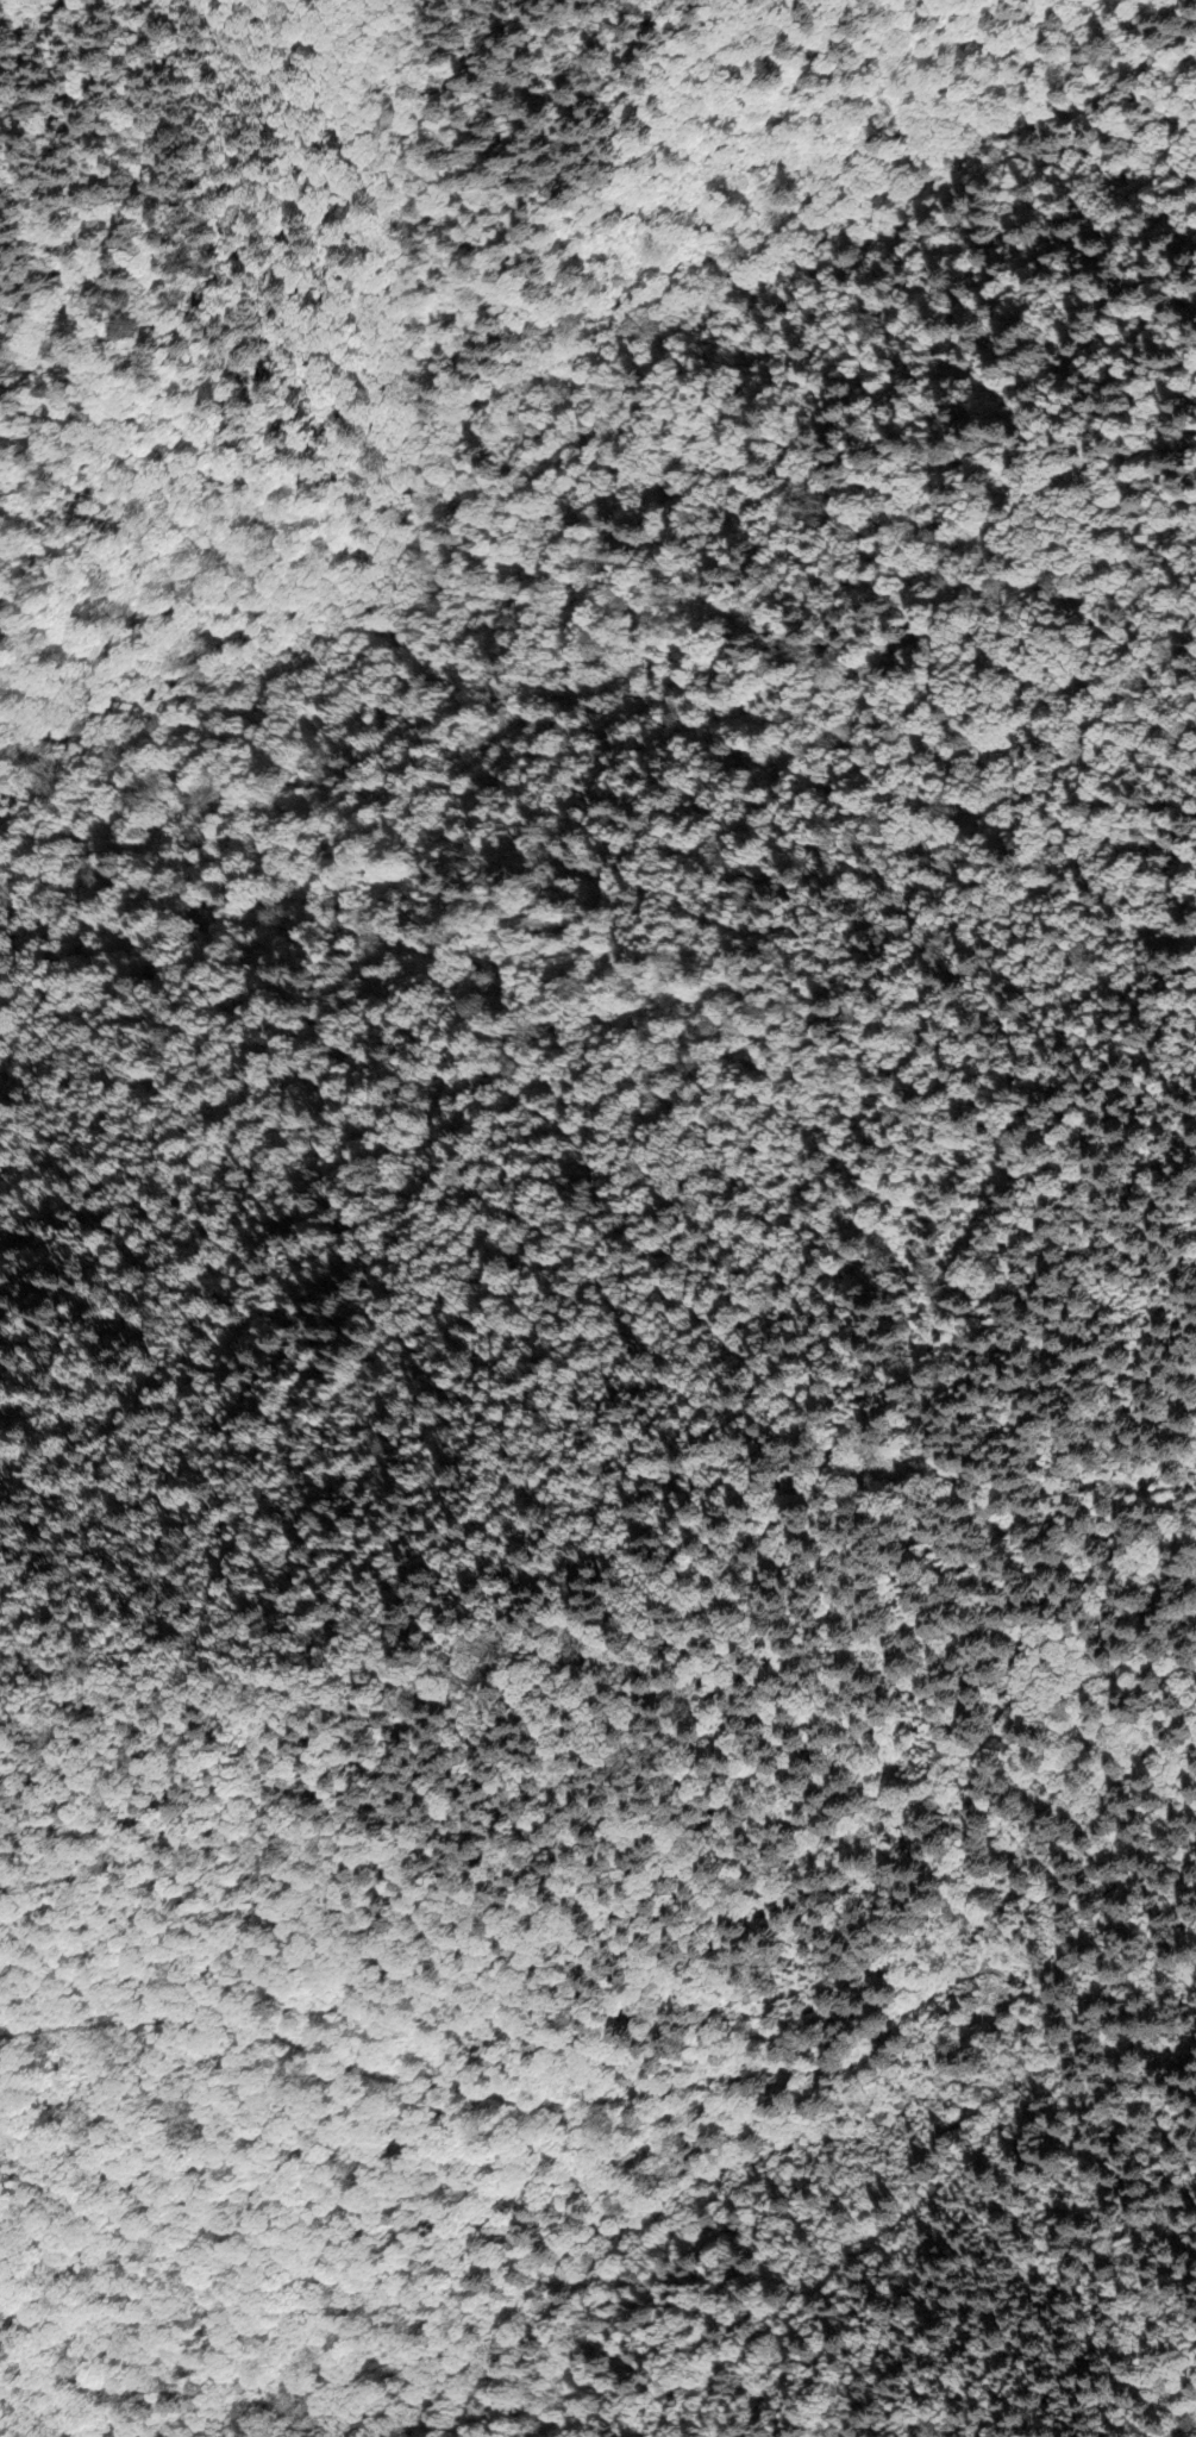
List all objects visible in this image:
road: (211, 243)
road: (844, 675)
road: (731, 2051)

